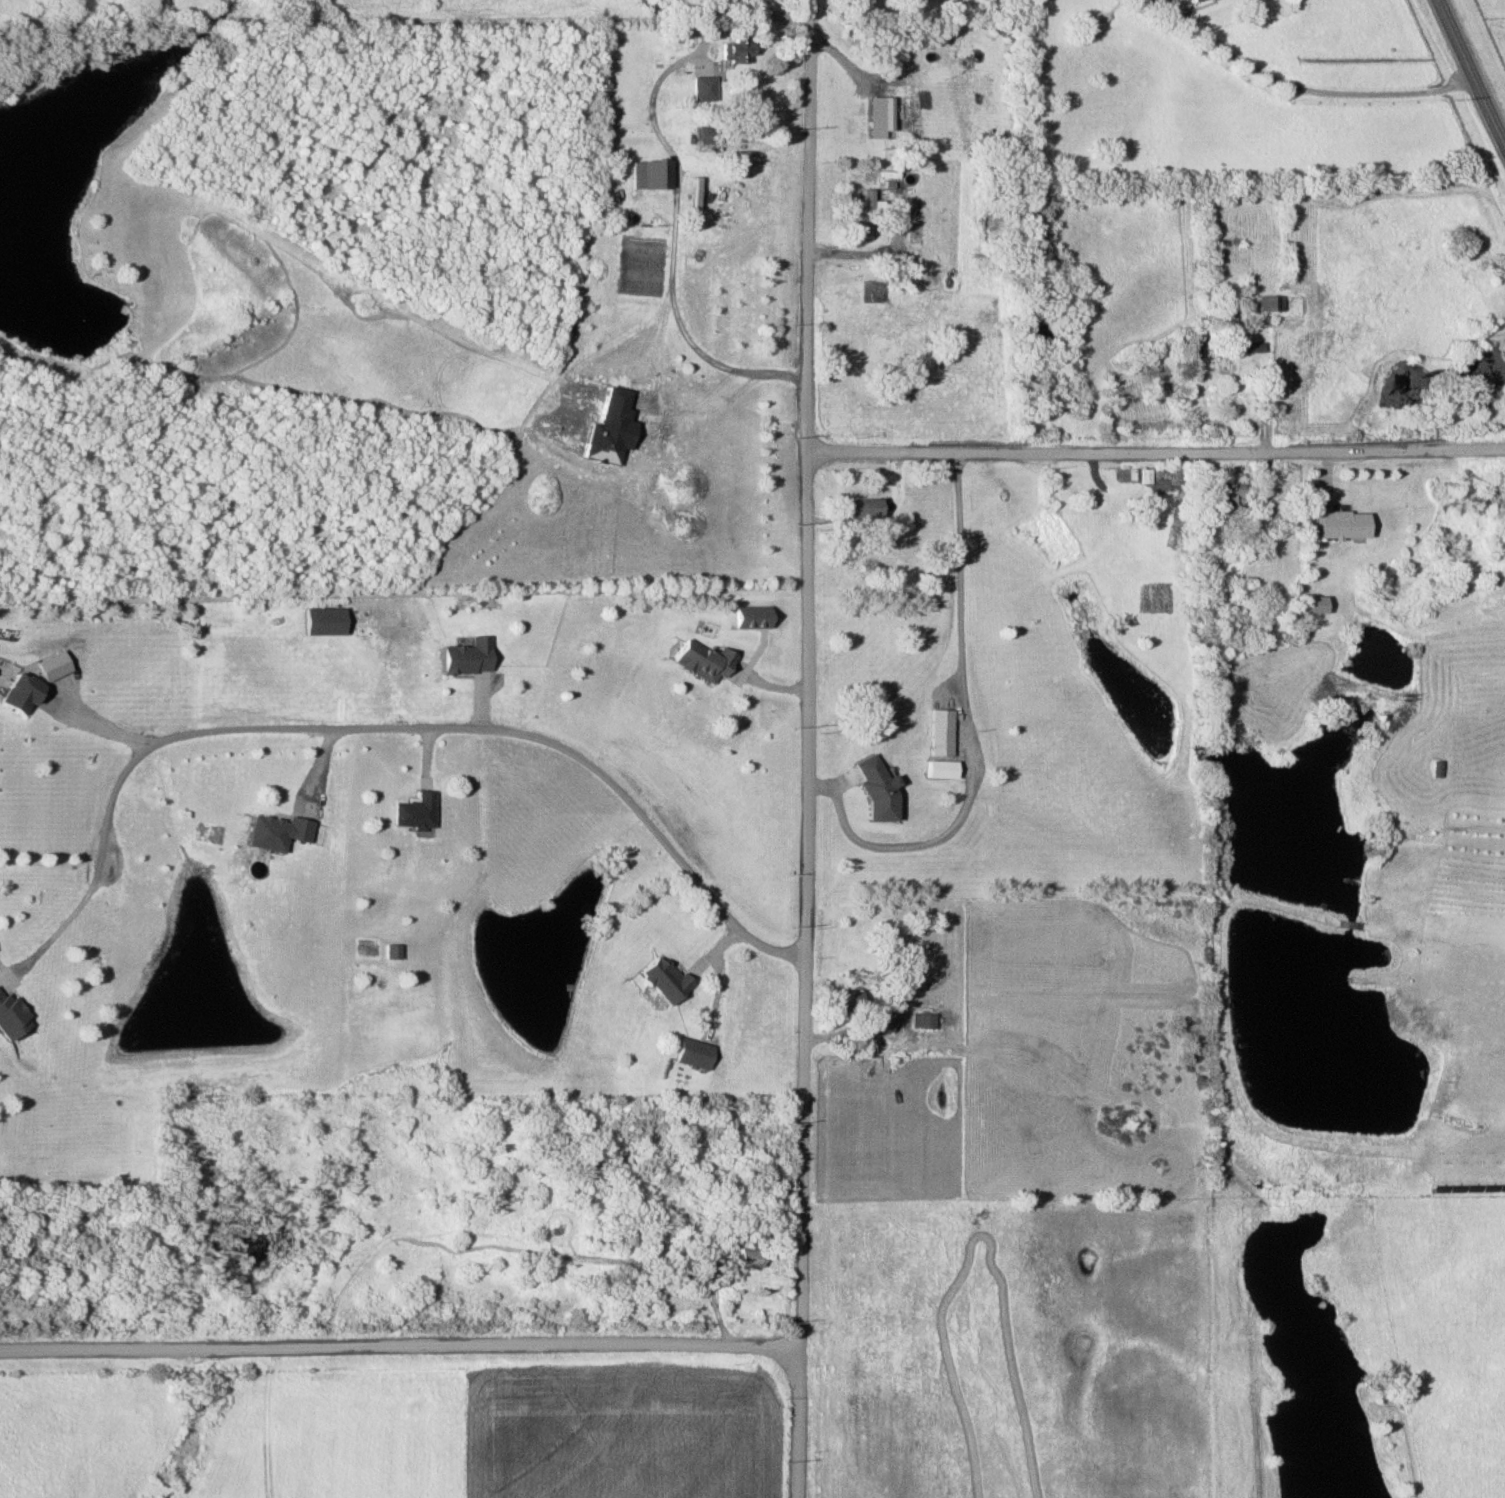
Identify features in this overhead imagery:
building: (1188, 0)
building: (735, 47)
building: (893, 61)
road: (1472, 72)
building: (701, 87)
road: (1303, 95)
building: (884, 111)
building: (705, 134)
building: (649, 173)
building: (865, 211)
road: (677, 250)
building: (1267, 303)
building: (1221, 317)
building: (1249, 346)
building: (871, 348)
building: (1219, 363)
building: (1162, 379)
road: (1156, 455)
building: (1125, 473)
building: (1221, 495)
building: (857, 507)
building: (1266, 518)
building: (1338, 524)
building: (1306, 604)
building: (319, 621)
building: (463, 656)
building: (701, 661)
road: (808, 688)
building: (15, 693)
road: (92, 730)
road: (372, 730)
building: (939, 732)
road: (966, 737)
building: (873, 793)
building: (410, 811)
building: (263, 833)
building: (388, 951)
building: (661, 980)
road: (724, 985)
building: (845, 999)
building: (9, 1017)
building: (919, 1021)
building: (880, 1025)
building: (694, 1053)
building: (624, 1234)
building: (594, 1239)
building: (747, 1257)
road: (403, 1344)
road: (799, 1437)

